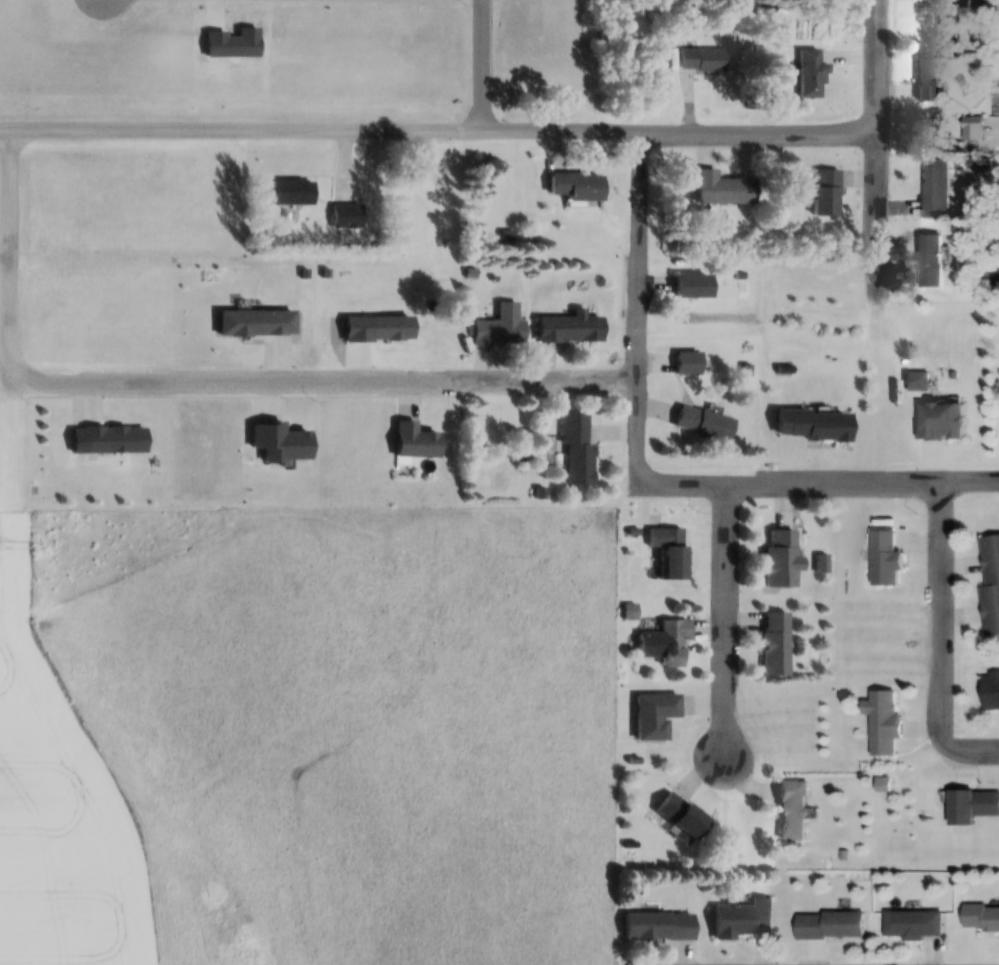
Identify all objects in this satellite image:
building: (928, 1)
building: (699, 60)
road: (482, 63)
building: (807, 71)
building: (924, 79)
road: (439, 125)
road: (879, 150)
building: (569, 186)
building: (932, 188)
building: (719, 189)
building: (286, 192)
building: (822, 192)
building: (344, 214)
building: (927, 260)
building: (687, 285)
road: (640, 301)
building: (565, 328)
building: (496, 332)
building: (685, 363)
road: (200, 375)
building: (937, 420)
building: (701, 424)
building: (808, 424)
building: (111, 440)
building: (412, 442)
building: (576, 452)
road: (818, 477)
building: (672, 552)
building: (884, 559)
building: (778, 560)
building: (990, 585)
road: (945, 605)
road: (731, 615)
building: (669, 642)
building: (772, 644)
building: (990, 693)
building: (650, 715)
building: (882, 722)
road: (973, 740)
building: (971, 806)
building: (790, 811)
crop: (53, 816)
building: (674, 817)
building: (979, 918)
building: (741, 920)
building: (912, 924)
building: (828, 925)
building: (653, 926)

